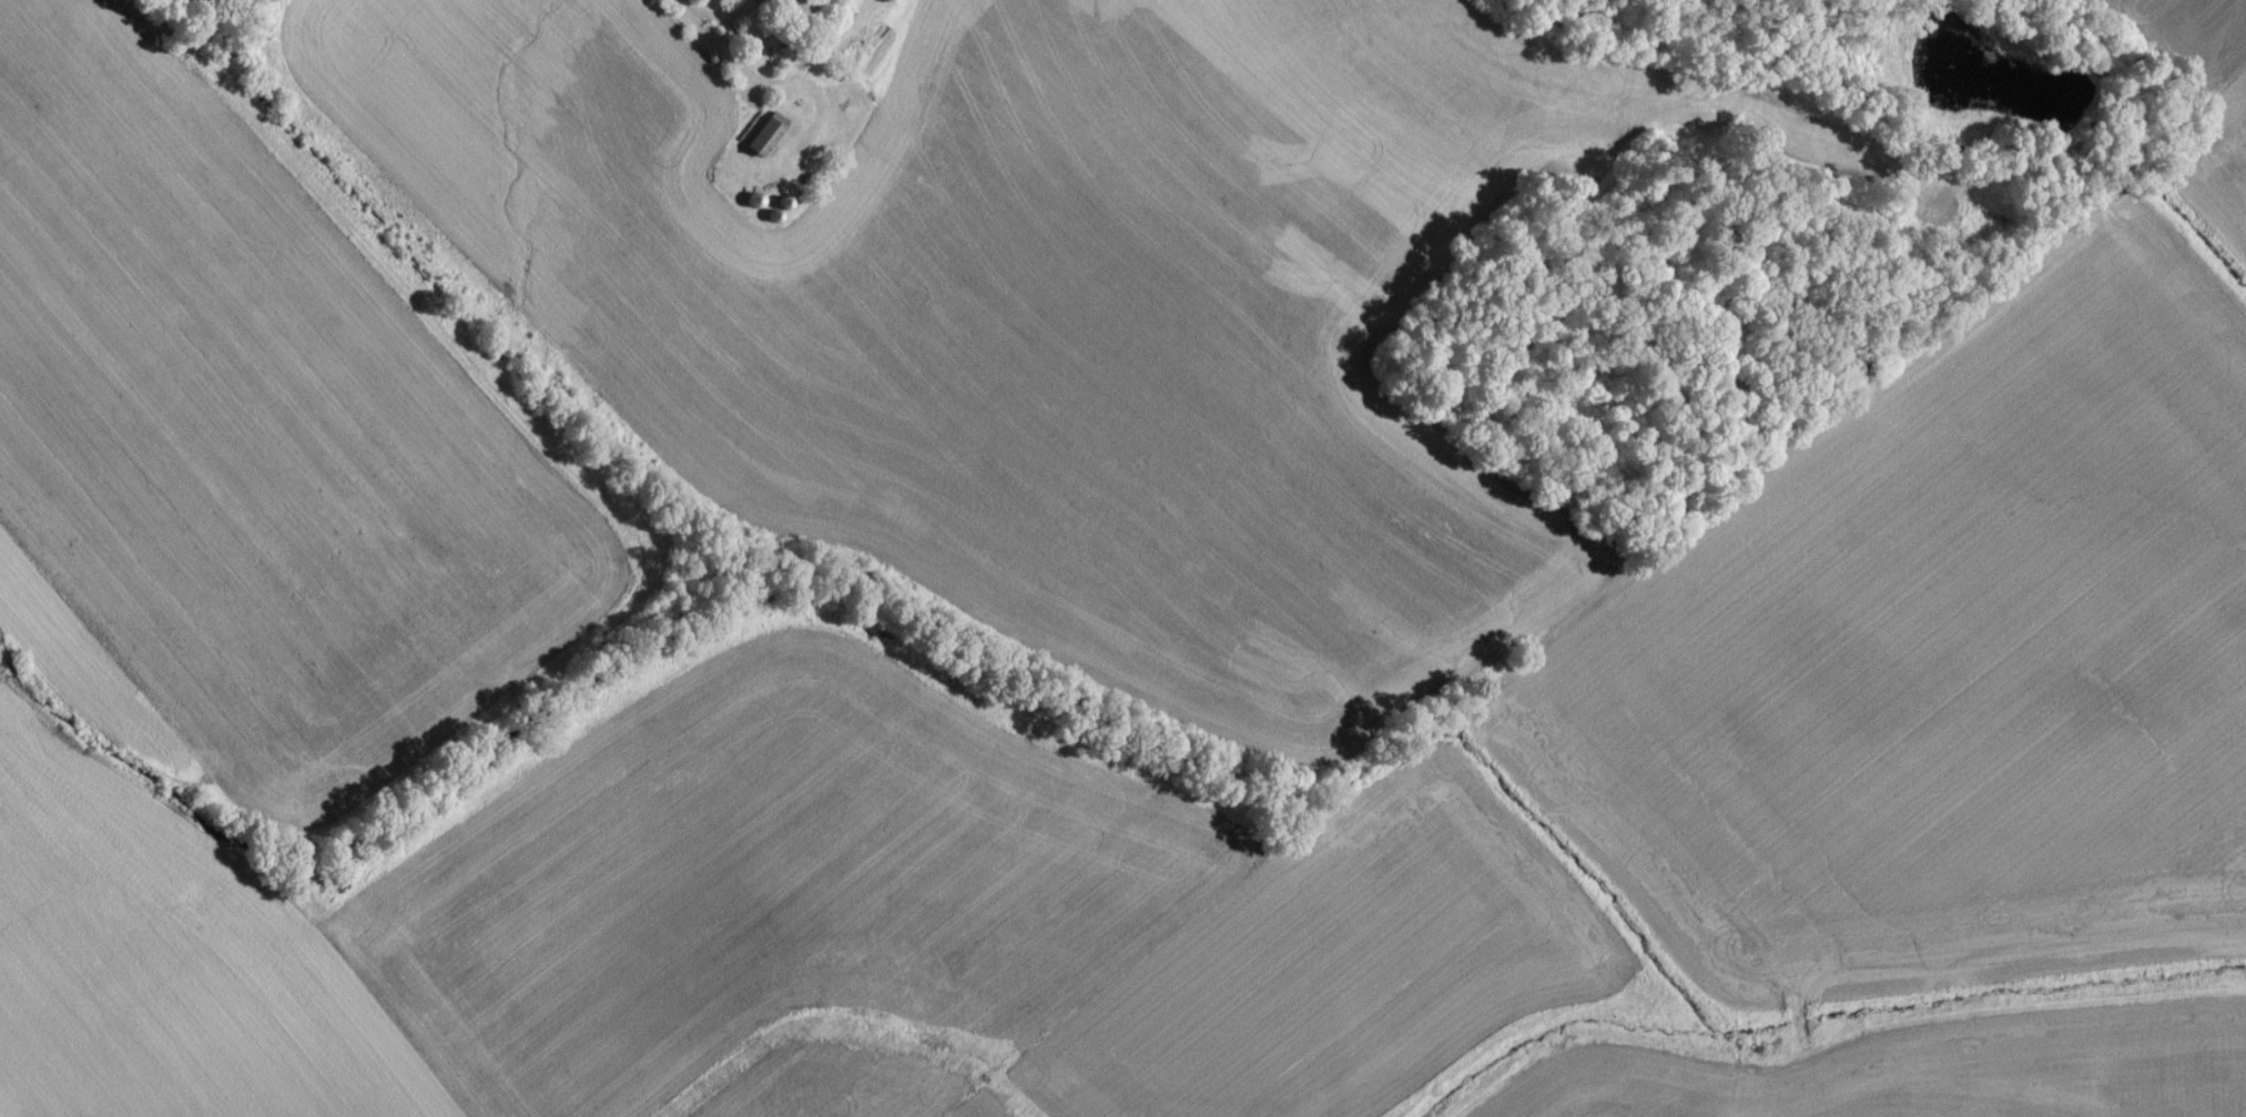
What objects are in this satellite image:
building: (783, 10)
building: (763, 141)

